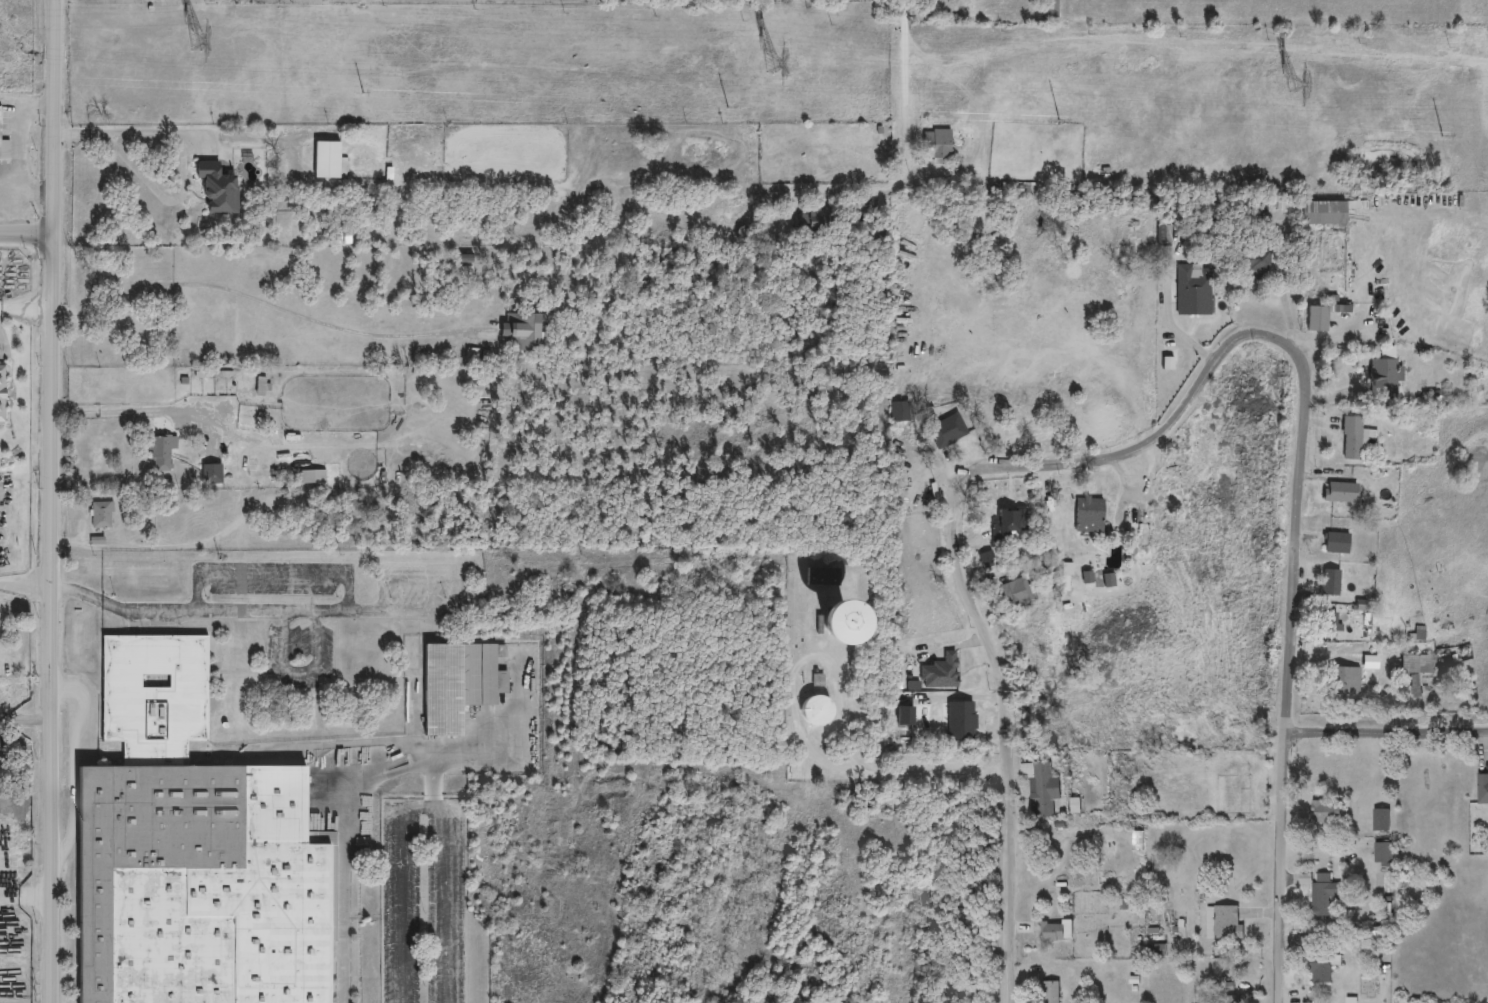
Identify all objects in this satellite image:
building: (1049, 9)
road: (981, 13)
power tower: (170, 39)
power tower: (745, 62)
power tower: (1290, 84)
road: (174, 132)
road: (906, 134)
building: (936, 144)
building: (326, 159)
road: (28, 161)
building: (1325, 211)
road: (24, 216)
road: (25, 233)
building: (1163, 244)
building: (464, 272)
building: (1194, 283)
road: (256, 303)
road: (24, 307)
building: (1316, 319)
building: (520, 331)
building: (1383, 378)
building: (2, 394)
road: (130, 410)
building: (900, 412)
building: (946, 431)
building: (1351, 438)
road: (1145, 443)
building: (161, 452)
building: (312, 476)
building: (1341, 492)
road: (47, 501)
building: (101, 514)
building: (1089, 515)
building: (1007, 523)
building: (1138, 528)
building: (1336, 542)
building: (820, 576)
road: (273, 577)
building: (1330, 582)
road: (23, 584)
building: (1014, 592)
road: (241, 609)
building: (1328, 621)
building: (1416, 669)
building: (939, 672)
road: (299, 674)
road: (1288, 674)
building: (457, 683)
building: (1344, 685)
building: (816, 710)
road: (795, 713)
building: (967, 733)
road: (1386, 735)
road: (1005, 740)
road: (849, 749)
building: (1173, 761)
road: (431, 783)
building: (1482, 789)
building: (1041, 792)
road: (424, 807)
road: (351, 808)
building: (1326, 812)
building: (1380, 821)
building: (192, 853)
building: (1382, 855)
road: (25, 896)
building: (1322, 896)
building: (1226, 924)
building: (1052, 932)
building: (1322, 967)
building: (1050, 993)
building: (1233, 1000)

